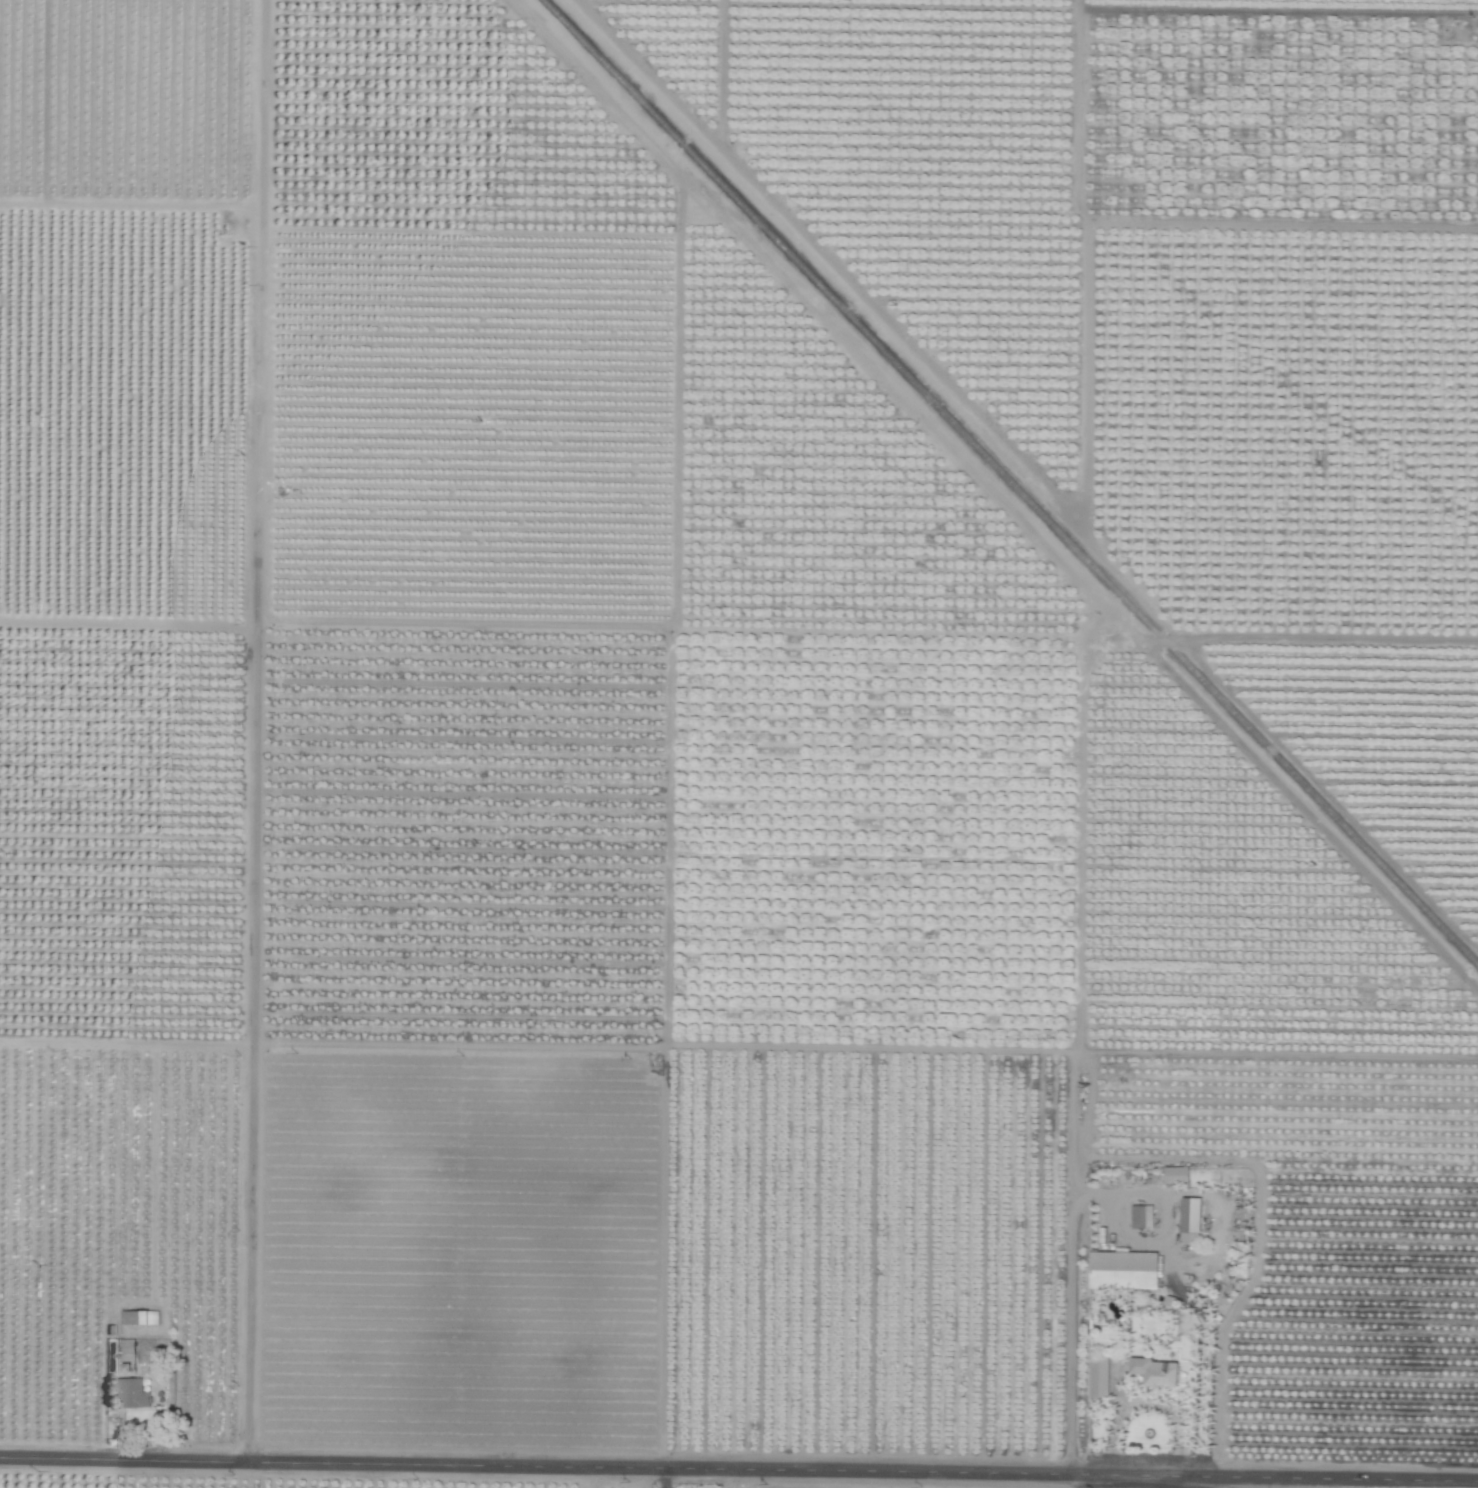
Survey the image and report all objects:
railway: (1009, 484)
road: (256, 732)
crop: (739, 744)
crop: (1281, 1064)
building: (1175, 1174)
building: (1190, 1214)
building: (1142, 1216)
building: (1122, 1269)
building: (139, 1317)
building: (1154, 1371)
road: (1205, 1374)
building: (132, 1393)
road: (739, 1469)
road: (1082, 1480)
road: (1282, 1484)

